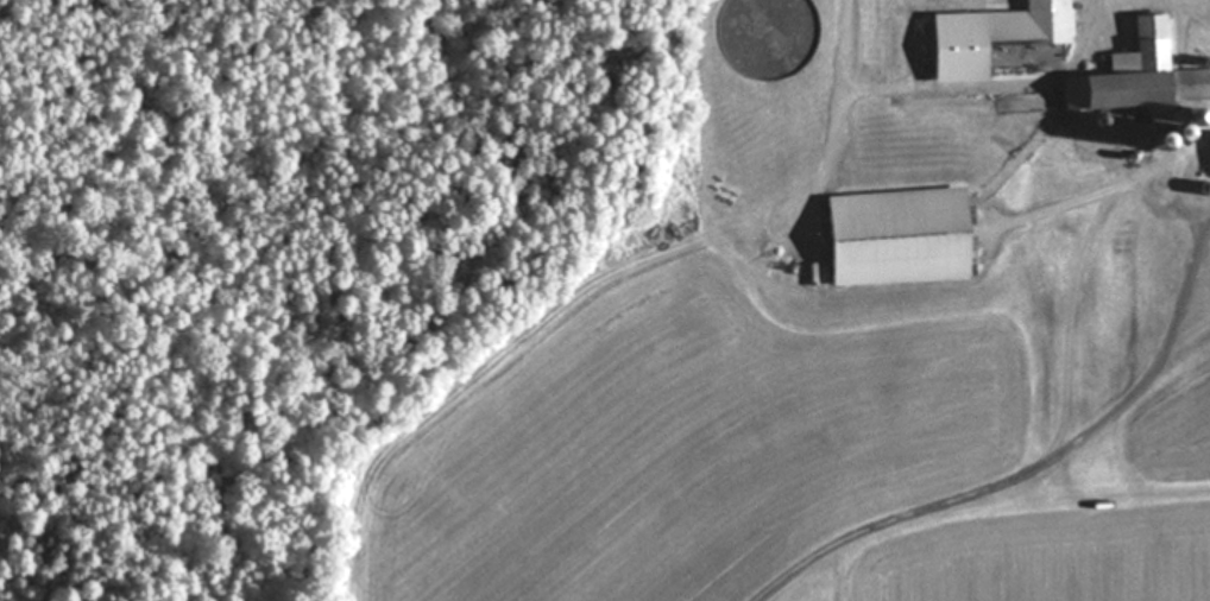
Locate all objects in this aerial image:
road: (1167, 2)
road: (1206, 4)
building: (988, 37)
building: (1135, 78)
road: (839, 116)
building: (1209, 152)
road: (1110, 192)
building: (888, 239)

